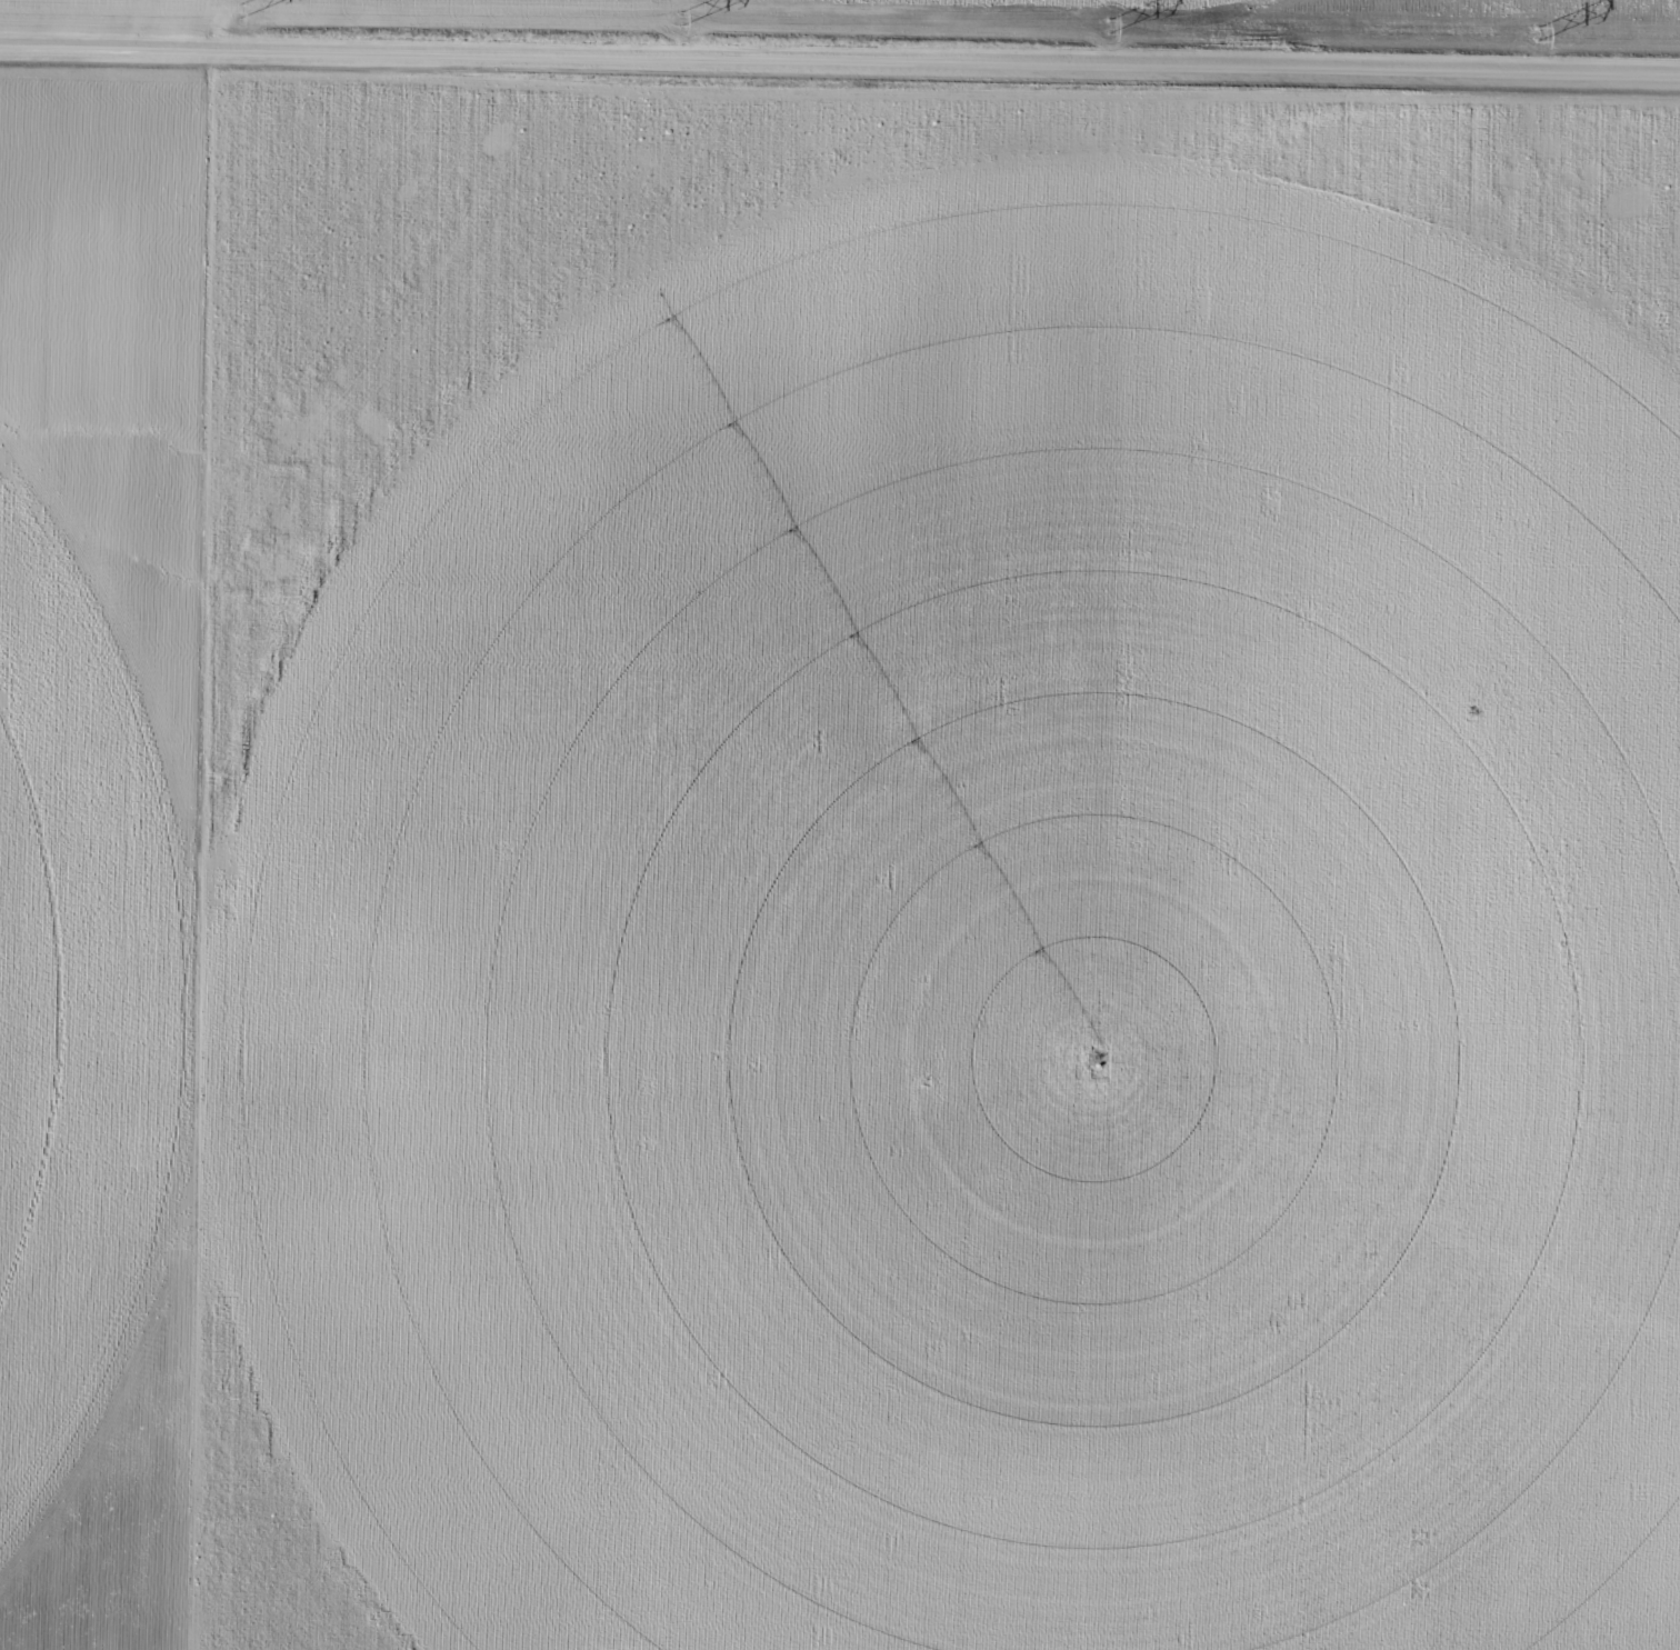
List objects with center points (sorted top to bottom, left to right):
power tower: (239, 9)
power tower: (681, 17)
power tower: (1109, 23)
power tower: (1534, 31)
road: (1090, 38)
road: (840, 73)
road: (188, 824)

